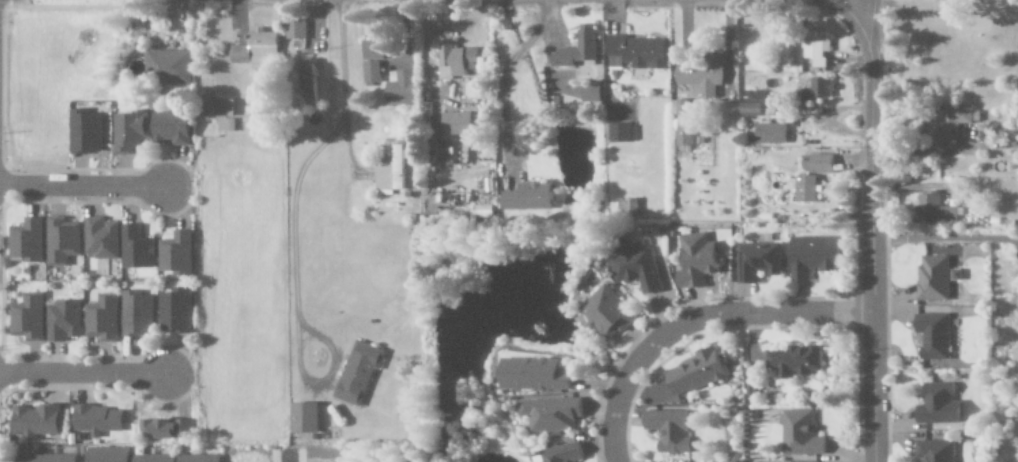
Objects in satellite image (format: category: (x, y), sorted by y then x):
road: (860, 6)
building: (297, 30)
building: (819, 49)
building: (259, 50)
building: (578, 50)
building: (638, 53)
building: (376, 57)
building: (457, 61)
building: (174, 68)
building: (704, 77)
road: (504, 81)
building: (311, 83)
building: (403, 90)
building: (816, 92)
building: (592, 94)
building: (756, 104)
building: (226, 114)
building: (459, 124)
building: (944, 126)
building: (175, 128)
building: (132, 131)
building: (87, 133)
building: (621, 133)
building: (685, 133)
building: (768, 134)
building: (814, 164)
building: (393, 172)
road: (141, 187)
building: (804, 188)
building: (529, 197)
building: (628, 208)
building: (932, 210)
road: (871, 221)
building: (103, 239)
building: (64, 241)
building: (29, 242)
building: (139, 249)
building: (178, 255)
building: (810, 256)
building: (694, 260)
building: (756, 261)
building: (634, 268)
building: (935, 273)
building: (178, 312)
building: (604, 313)
building: (139, 315)
building: (30, 318)
road: (693, 318)
building: (105, 319)
building: (66, 322)
building: (931, 335)
building: (792, 362)
building: (360, 373)
building: (693, 373)
road: (142, 374)
building: (529, 375)
building: (936, 405)
building: (550, 414)
road: (274, 417)
building: (308, 419)
building: (100, 420)
building: (38, 421)
building: (167, 430)
building: (667, 430)
building: (798, 433)
building: (933, 451)
building: (558, 454)
building: (110, 455)
road: (288, 455)
building: (46, 458)
building: (155, 458)
building: (201, 458)

